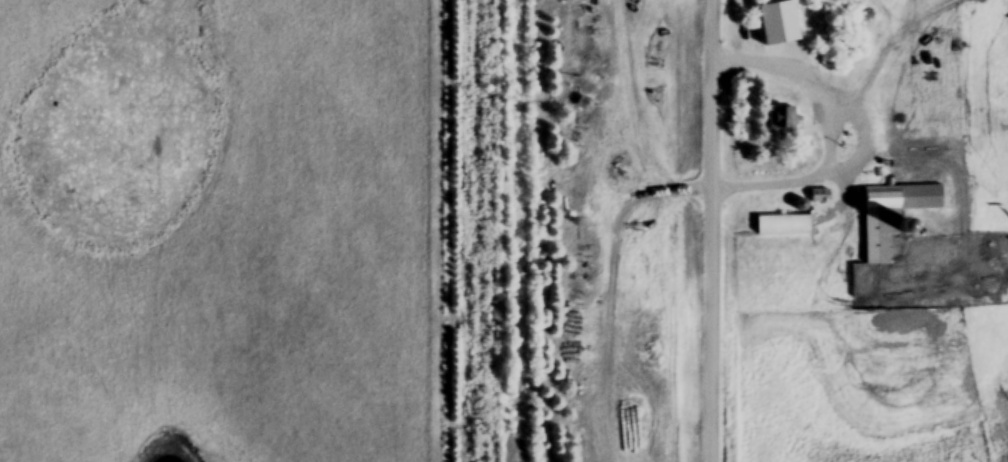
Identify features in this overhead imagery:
building: (782, 124)
road: (830, 127)
building: (893, 216)
building: (776, 226)
road: (713, 231)

